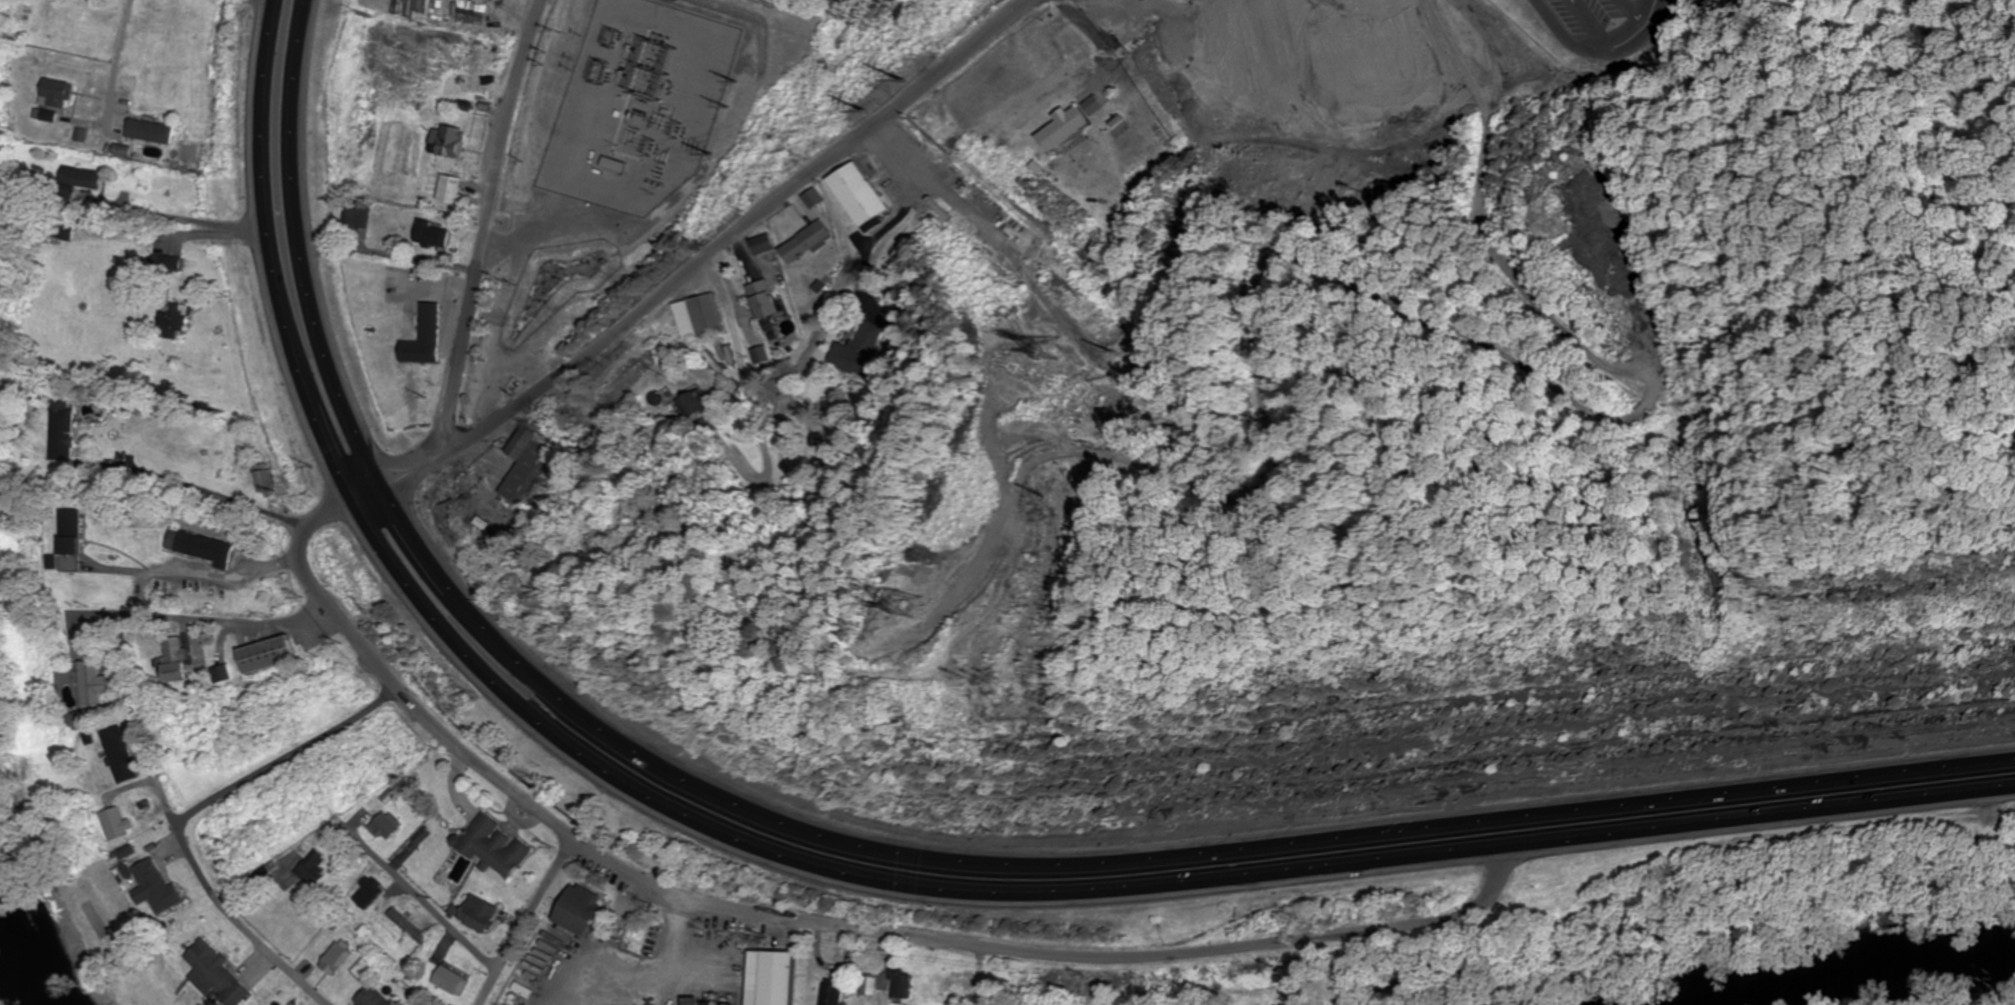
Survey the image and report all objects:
building: (685, 8)
road: (1624, 15)
road: (1584, 24)
building: (1126, 36)
building: (1049, 44)
road: (1594, 48)
building: (676, 57)
road: (119, 60)
building: (1346, 93)
building: (57, 98)
building: (649, 100)
power substation: (638, 104)
building: (1059, 127)
building: (148, 129)
building: (448, 141)
building: (587, 154)
building: (85, 177)
road: (594, 183)
building: (448, 189)
building: (855, 195)
building: (812, 198)
building: (999, 226)
road: (751, 229)
building: (430, 236)
building: (805, 243)
building: (762, 245)
road: (478, 256)
building: (175, 263)
building: (762, 299)
building: (698, 317)
building: (176, 321)
building: (427, 324)
building: (503, 343)
power tower: (1045, 348)
building: (859, 350)
building: (694, 403)
building: (66, 428)
building: (527, 467)
building: (267, 480)
power tower: (1033, 502)
building: (73, 539)
building: (201, 547)
road: (202, 568)
power tower: (905, 602)
road: (214, 622)
building: (266, 655)
building: (176, 661)
building: (222, 674)
building: (96, 684)
power tower: (954, 685)
building: (78, 722)
building: (124, 755)
road: (293, 759)
building: (386, 824)
building: (118, 825)
building: (492, 846)
road: (881, 850)
building: (314, 868)
road: (856, 879)
building: (157, 883)
building: (370, 891)
road: (430, 894)
road: (226, 895)
building: (577, 908)
building: (479, 913)
road: (808, 915)
road: (529, 918)
building: (411, 926)
river: (35, 933)
building: (338, 959)
river: (1851, 974)
building: (217, 975)
building: (775, 978)
building: (452, 980)
building: (900, 985)
building: (956, 985)
building: (867, 986)
building: (832, 992)
building: (374, 997)

